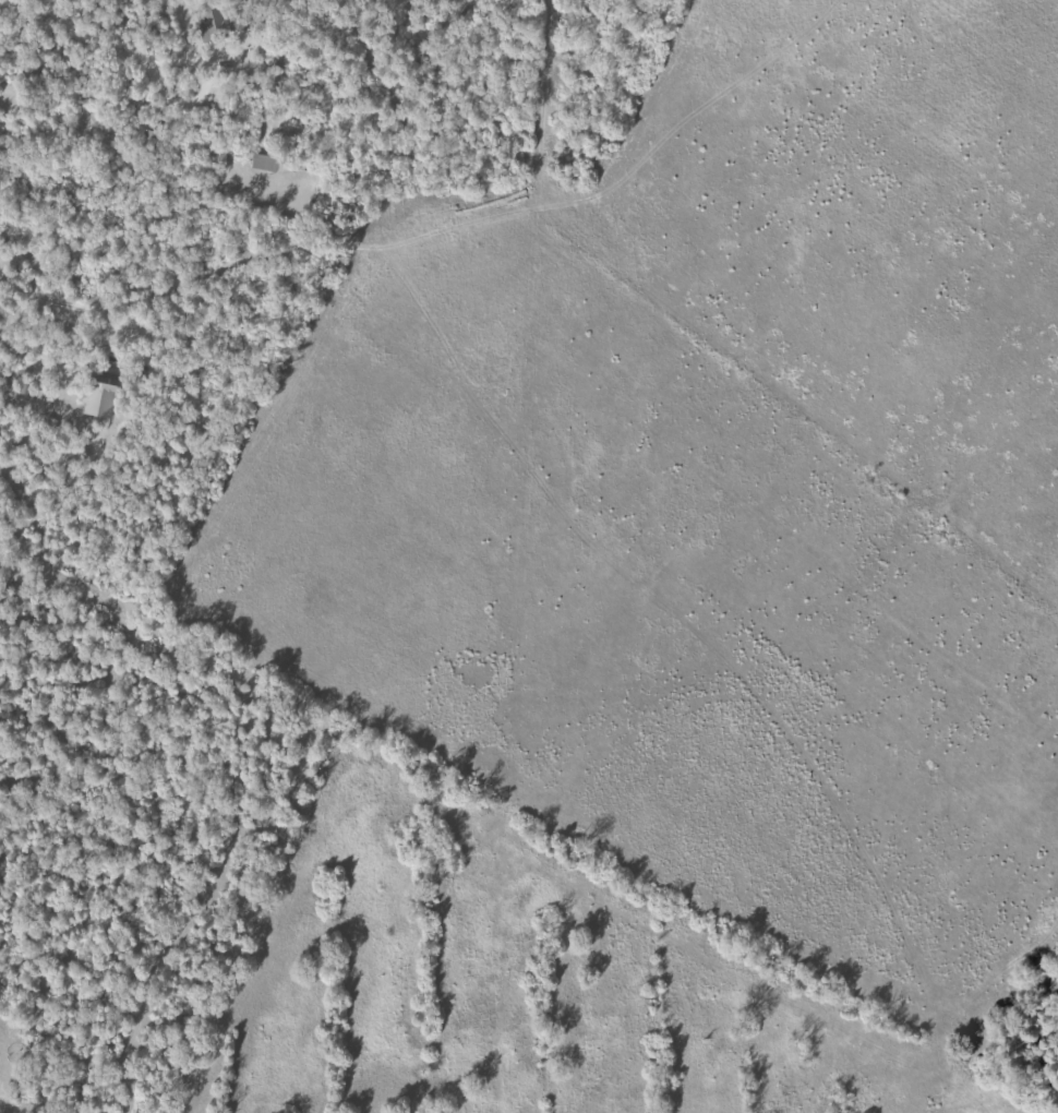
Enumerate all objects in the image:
building: (211, 23)
road: (112, 44)
road: (46, 302)
building: (99, 394)
road: (221, 427)
road: (196, 823)
road: (702, 915)

